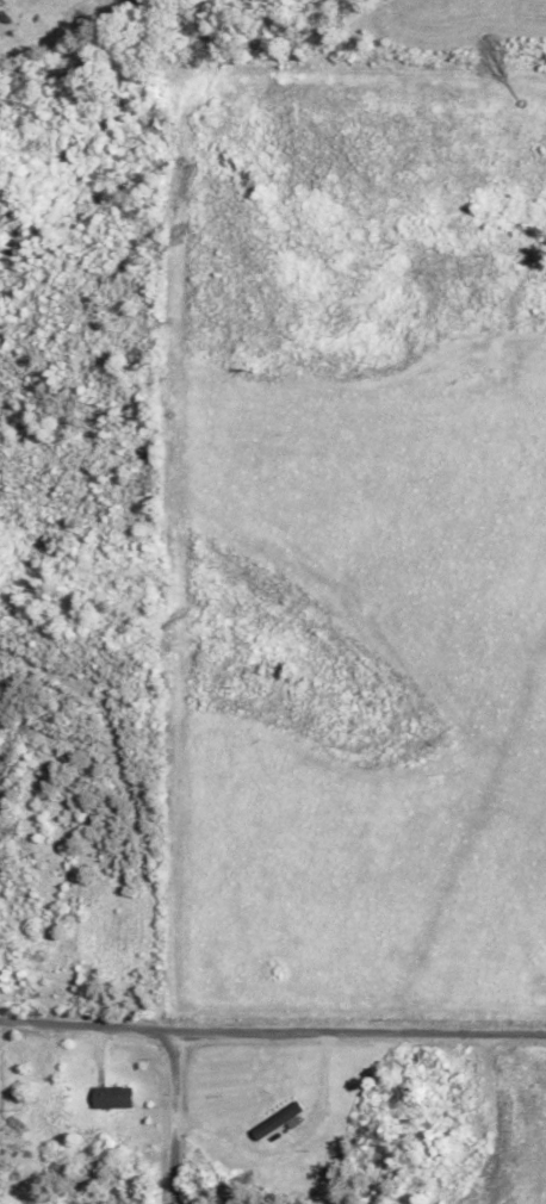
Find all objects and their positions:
road: (272, 1034)
building: (112, 1097)
road: (176, 1116)

